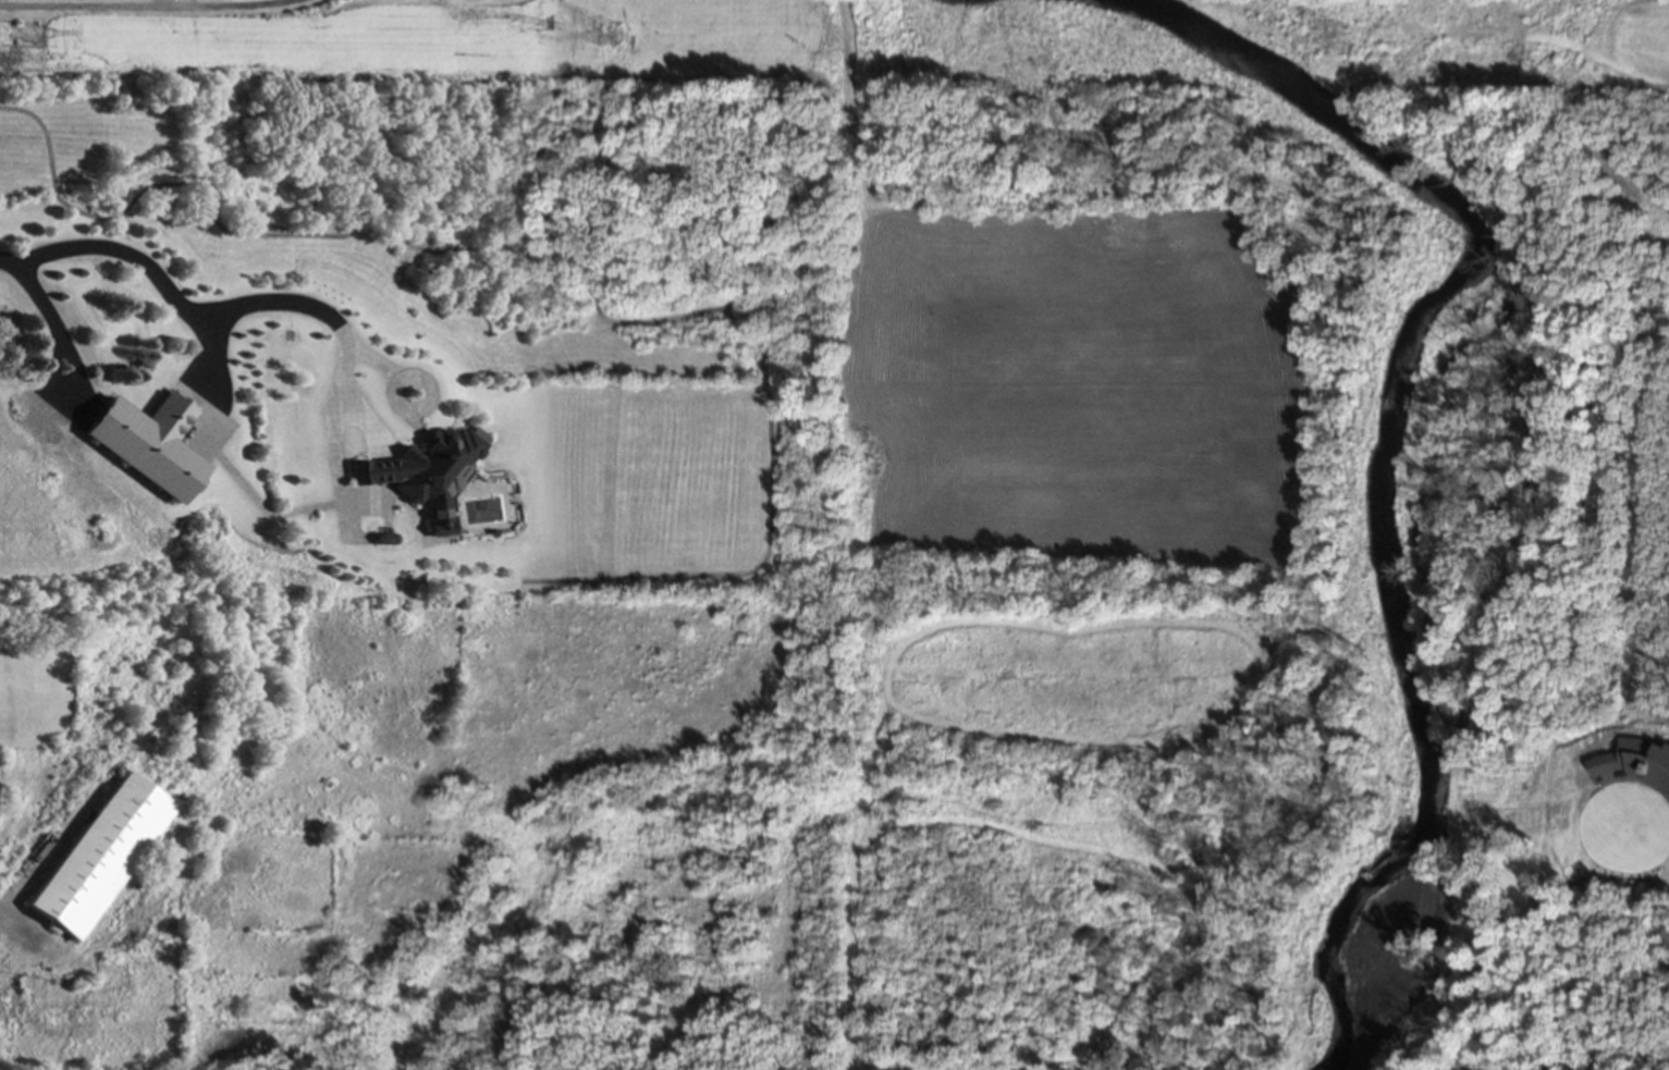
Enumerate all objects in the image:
road: (149, 8)
power tower: (5, 45)
power tower: (598, 49)
power tower: (1339, 59)
road: (169, 292)
road: (53, 321)
road: (352, 384)
building: (147, 441)
building: (424, 472)
building: (1636, 762)
road: (21, 933)

